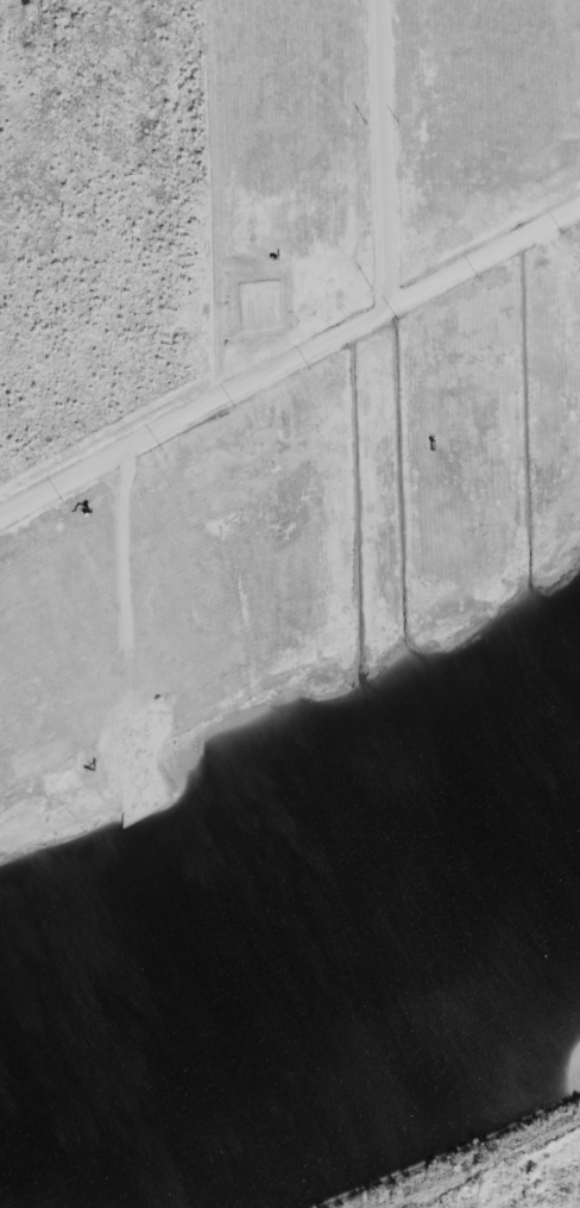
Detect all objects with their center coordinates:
road: (13, 814)

